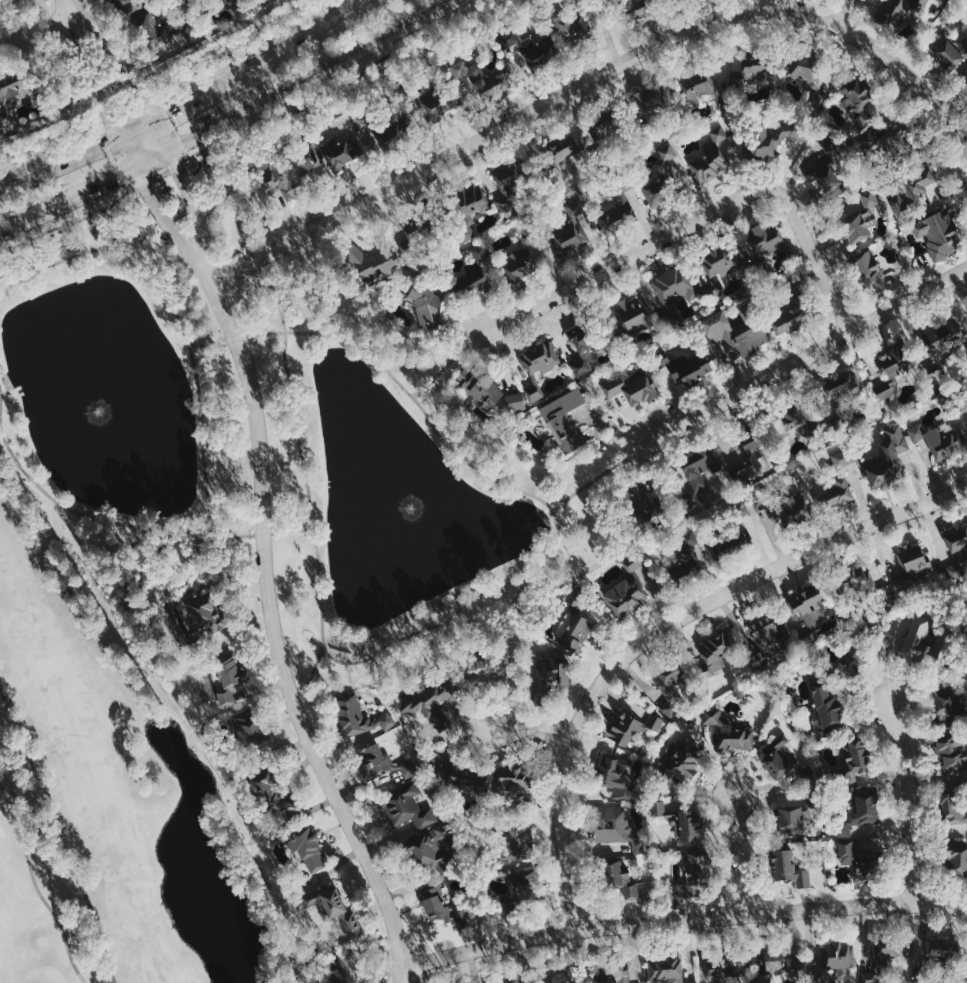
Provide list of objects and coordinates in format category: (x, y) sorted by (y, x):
building: (809, 0)
building: (13, 2)
building: (192, 2)
building: (227, 4)
building: (126, 6)
building: (637, 6)
road: (71, 9)
building: (889, 13)
road: (843, 14)
building: (574, 27)
building: (157, 29)
road: (38, 30)
building: (531, 46)
building: (947, 51)
road: (247, 53)
building: (753, 66)
road: (605, 71)
road: (134, 74)
building: (481, 77)
building: (805, 77)
building: (699, 84)
road: (347, 85)
building: (964, 85)
building: (13, 94)
building: (853, 95)
road: (95, 96)
building: (433, 96)
road: (183, 105)
building: (653, 106)
road: (149, 108)
road: (130, 118)
road: (228, 118)
traffic signals: (158, 120)
road: (110, 127)
building: (383, 127)
building: (604, 127)
road: (173, 129)
building: (770, 136)
building: (887, 139)
traffic signals: (119, 140)
traffic signals: (172, 148)
building: (334, 148)
road: (49, 150)
road: (220, 151)
building: (557, 153)
building: (710, 157)
road: (113, 160)
traffic signals: (135, 168)
building: (827, 169)
road: (158, 172)
building: (662, 177)
building: (283, 179)
building: (506, 182)
building: (910, 191)
road: (230, 203)
building: (618, 206)
building: (468, 207)
road: (196, 214)
building: (859, 217)
road: (699, 219)
road: (66, 224)
building: (416, 225)
road: (117, 226)
road: (171, 227)
building: (569, 228)
building: (937, 233)
building: (765, 238)
building: (521, 255)
building: (721, 260)
building: (373, 261)
building: (867, 271)
building: (471, 275)
building: (674, 286)
building: (429, 308)
building: (792, 314)
building: (631, 315)
building: (733, 330)
building: (941, 337)
building: (585, 343)
road: (805, 353)
building: (894, 357)
road: (447, 363)
building: (538, 365)
building: (683, 366)
building: (841, 385)
building: (632, 386)
building: (488, 392)
fountain: (109, 393)
road: (297, 393)
road: (0, 403)
building: (786, 417)
building: (564, 421)
road: (202, 438)
building: (751, 440)
building: (945, 442)
building: (843, 458)
building: (883, 464)
road: (599, 475)
building: (698, 476)
building: (833, 490)
building: (644, 501)
building: (790, 508)
building: (741, 509)
fountain: (419, 518)
building: (725, 537)
building: (686, 550)
road: (540, 558)
building: (683, 568)
building: (866, 584)
building: (626, 589)
building: (808, 607)
building: (205, 614)
building: (573, 623)
road: (661, 629)
building: (765, 631)
road: (274, 641)
building: (924, 642)
building: (716, 651)
building: (490, 662)
building: (849, 663)
building: (228, 674)
road: (313, 674)
building: (549, 674)
building: (672, 691)
building: (432, 700)
building: (949, 702)
building: (825, 709)
building: (360, 716)
building: (633, 725)
building: (729, 732)
building: (249, 733)
road: (532, 735)
building: (777, 757)
building: (380, 761)
building: (855, 761)
building: (681, 765)
building: (618, 776)
building: (952, 776)
building: (511, 781)
building: (269, 795)
road: (915, 801)
park: (111, 802)
building: (405, 805)
building: (860, 812)
building: (793, 817)
building: (681, 822)
building: (614, 825)
road: (58, 835)
building: (515, 844)
building: (309, 849)
building: (435, 855)
road: (742, 855)
building: (861, 859)
building: (958, 862)
building: (789, 869)
building: (695, 871)
building: (626, 877)
road: (35, 885)
building: (518, 885)
building: (332, 906)
building: (441, 907)
road: (684, 920)
building: (942, 951)
building: (895, 952)
building: (841, 959)
building: (777, 960)
building: (724, 968)
building: (666, 970)
building: (333, 971)
building: (614, 974)
building: (871, 977)
building: (763, 978)
building: (513, 981)

